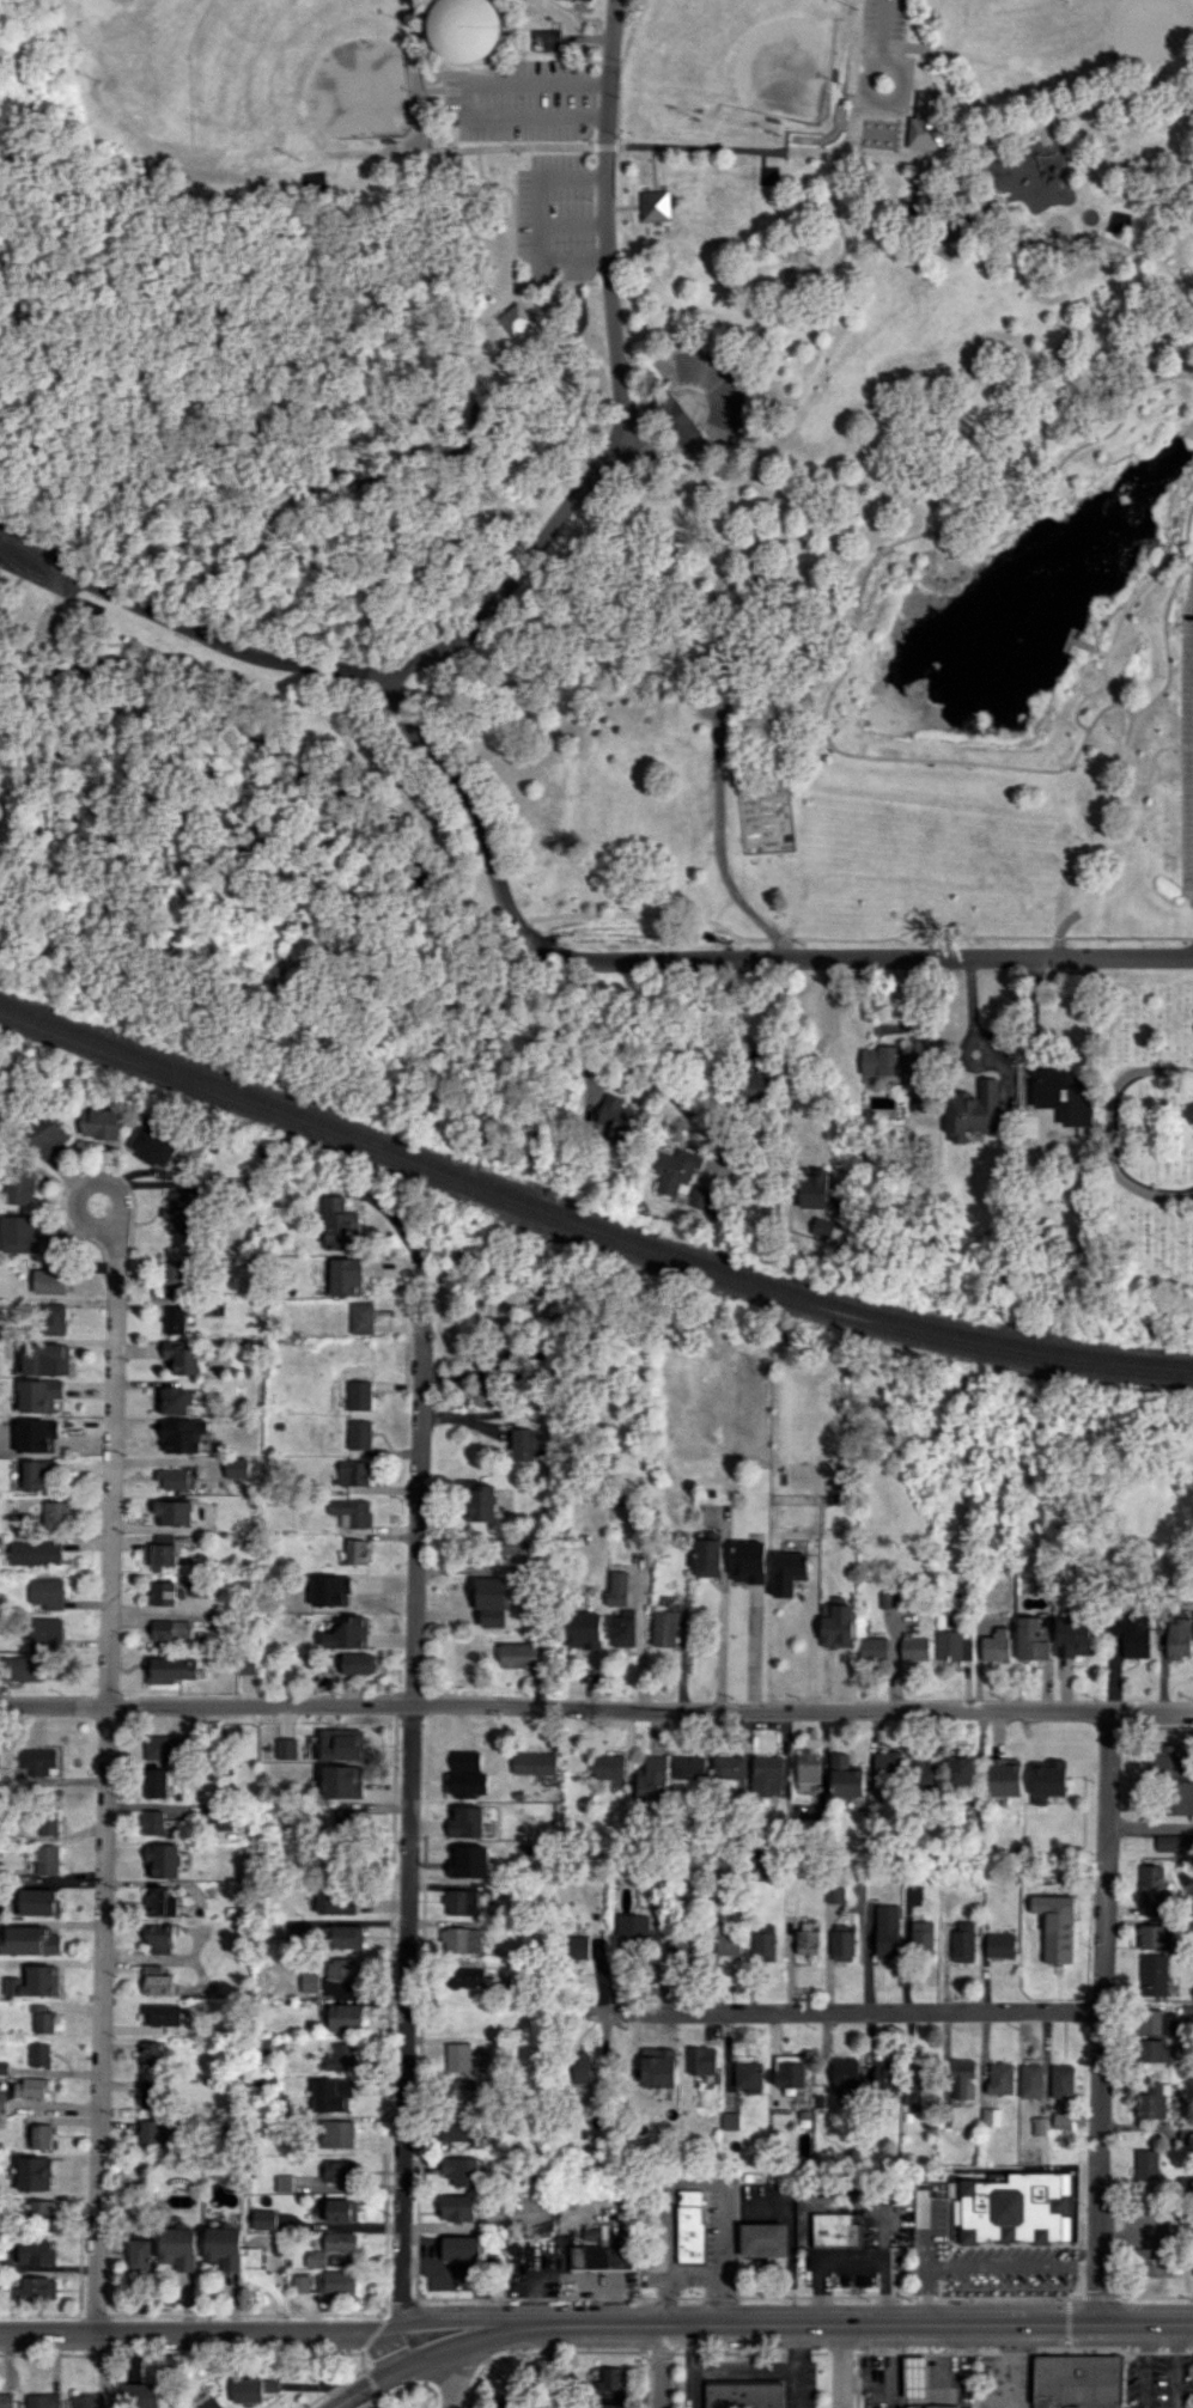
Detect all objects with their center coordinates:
park: (1000, 4)
road: (883, 22)
parking lot: (884, 24)
building: (467, 29)
storage tank: (467, 29)
building: (546, 39)
park: (735, 71)
park: (255, 72)
road: (471, 100)
parking lot: (519, 100)
building: (926, 120)
road: (1028, 129)
road: (599, 147)
parking lot: (558, 213)
road: (512, 240)
road: (1059, 240)
road: (823, 269)
building: (513, 317)
road: (617, 385)
building: (704, 394)
road: (471, 415)
park: (591, 481)
building: (282, 516)
road: (1188, 525)
road: (1192, 547)
road: (931, 553)
road: (902, 560)
parking lot: (39, 565)
road: (185, 627)
road: (1165, 639)
road: (826, 706)
parking lot: (1187, 744)
road: (1128, 755)
road: (719, 842)
road: (705, 957)
road: (1029, 1023)
road: (602, 1035)
road: (808, 1050)
building: (888, 1060)
road: (674, 1071)
building: (756, 1085)
building: (1055, 1087)
building: (973, 1110)
building: (615, 1117)
building: (99, 1122)
building: (49, 1136)
park: (1145, 1138)
building: (153, 1144)
building: (672, 1168)
road: (102, 1182)
building: (19, 1185)
building: (812, 1188)
building: (701, 1197)
building: (179, 1211)
railway: (586, 1219)
building: (337, 1224)
building: (821, 1227)
railway: (586, 1231)
building: (20, 1233)
building: (174, 1274)
building: (345, 1276)
building: (50, 1279)
building: (361, 1317)
building: (53, 1318)
building: (175, 1319)
building: (183, 1358)
building: (45, 1359)
building: (483, 1394)
building: (39, 1395)
building: (358, 1395)
building: (174, 1400)
building: (183, 1434)
building: (359, 1434)
building: (47, 1437)
building: (523, 1444)
building: (237, 1468)
building: (354, 1473)
building: (39, 1474)
building: (176, 1479)
building: (481, 1502)
building: (352, 1511)
building: (174, 1512)
building: (54, 1513)
building: (518, 1548)
building: (357, 1552)
building: (35, 1553)
building: (160, 1555)
building: (707, 1557)
building: (789, 1572)
building: (199, 1587)
building: (617, 1587)
building: (47, 1592)
building: (162, 1592)
building: (748, 1607)
building: (836, 1626)
building: (169, 1629)
building: (664, 1629)
building: (584, 1630)
building: (623, 1630)
building: (45, 1632)
road: (723, 1632)
building: (1131, 1632)
building: (1072, 1636)
building: (1177, 1638)
building: (1033, 1639)
building: (996, 1645)
building: (952, 1646)
road: (811, 1647)
building: (874, 1647)
building: (914, 1650)
building: (521, 1654)
building: (358, 1663)
building: (22, 1668)
building: (246, 1668)
building: (170, 1669)
road: (596, 1707)
building: (341, 1744)
building: (165, 1746)
building: (286, 1748)
building: (463, 1758)
building: (1170, 1760)
building: (37, 1761)
building: (534, 1762)
building: (885, 1763)
building: (609, 1766)
building: (689, 1767)
building: (809, 1768)
building: (921, 1769)
building: (960, 1770)
building: (1057, 1773)
building: (768, 1775)
building: (845, 1776)
building: (1004, 1776)
road: (105, 1778)
building: (653, 1779)
building: (157, 1781)
building: (341, 1781)
building: (464, 1781)
building: (1179, 1798)
road: (410, 1799)
building: (221, 1819)
building: (48, 1821)
building: (347, 1821)
building: (465, 1821)
building: (156, 1824)
road: (1150, 1827)
building: (1174, 1842)
building: (45, 1859)
building: (162, 1860)
building: (457, 1865)
building: (1151, 1890)
building: (835, 1894)
building: (337, 1901)
building: (38, 1902)
building: (159, 1902)
building: (459, 1902)
building: (635, 1932)
building: (343, 1935)
building: (1058, 1935)
building: (808, 1937)
building: (923, 1937)
building: (1155, 1937)
building: (158, 1938)
building: (461, 1939)
building: (30, 1940)
building: (888, 1940)
building: (765, 1941)
building: (963, 1941)
building: (729, 1943)
building: (842, 1945)
building: (999, 1945)
building: (578, 1947)
building: (688, 1949)
building: (342, 1969)
building: (1154, 1974)
building: (468, 1977)
building: (34, 1981)
building: (310, 1982)
road: (841, 2011)
building: (160, 2014)
building: (345, 2017)
road: (1098, 2017)
building: (41, 2018)
building: (1157, 2022)
building: (1152, 2050)
building: (39, 2054)
building: (151, 2056)
building: (340, 2058)
building: (459, 2058)
building: (701, 2060)
building: (580, 2067)
building: (657, 2067)
building: (791, 2075)
building: (887, 2075)
building: (749, 2077)
building: (846, 2078)
building: (1000, 2078)
building: (963, 2079)
building: (1030, 2080)
building: (1063, 2080)
building: (30, 2087)
building: (918, 2087)
building: (463, 2089)
building: (150, 2093)
building: (331, 2095)
building: (704, 2096)
building: (2, 2101)
building: (1154, 2101)
building: (991, 2116)
building: (1061, 2120)
building: (729, 2121)
building: (1039, 2126)
building: (457, 2128)
building: (153, 2132)
building: (336, 2134)
building: (41, 2136)
building: (1148, 2164)
building: (339, 2170)
building: (461, 2170)
building: (34, 2174)
building: (282, 2182)
building: (457, 2207)
building: (1015, 2209)
building: (340, 2211)
building: (38, 2213)
parking lot: (773, 2214)
building: (263, 2219)
road: (670, 2227)
building: (690, 2227)
building: (835, 2230)
road: (920, 2236)
building: (763, 2239)
building: (340, 2242)
parking lot: (710, 2243)
building: (178, 2248)
building: (223, 2248)
building: (461, 2248)
parking lot: (866, 2248)
building: (35, 2251)
road: (725, 2254)
building: (138, 2255)
building: (602, 2256)
building: (315, 2258)
road: (853, 2263)
parking lot: (538, 2267)
road: (1009, 2267)
road: (698, 2272)
building: (335, 2281)
building: (300, 2282)
building: (36, 2288)
road: (921, 2296)
road: (858, 2324)
road: (463, 2328)
road: (200, 2331)
road: (457, 2345)
road: (397, 2351)
road: (662, 2366)
road: (840, 2366)
road: (457, 2375)
building: (915, 2375)
building: (610, 2378)
parking lot: (914, 2380)
parking lot: (1006, 2380)
building: (1077, 2380)
parking lot: (1157, 2380)
building: (252, 2389)
road: (361, 2389)
building: (743, 2394)
parking lot: (798, 2394)
building: (139, 2395)
building: (87, 2400)
building: (6, 2401)
building: (43, 2401)
building: (208, 2401)
building: (504, 2401)
building: (932, 2406)
gas station: (933, 2406)

